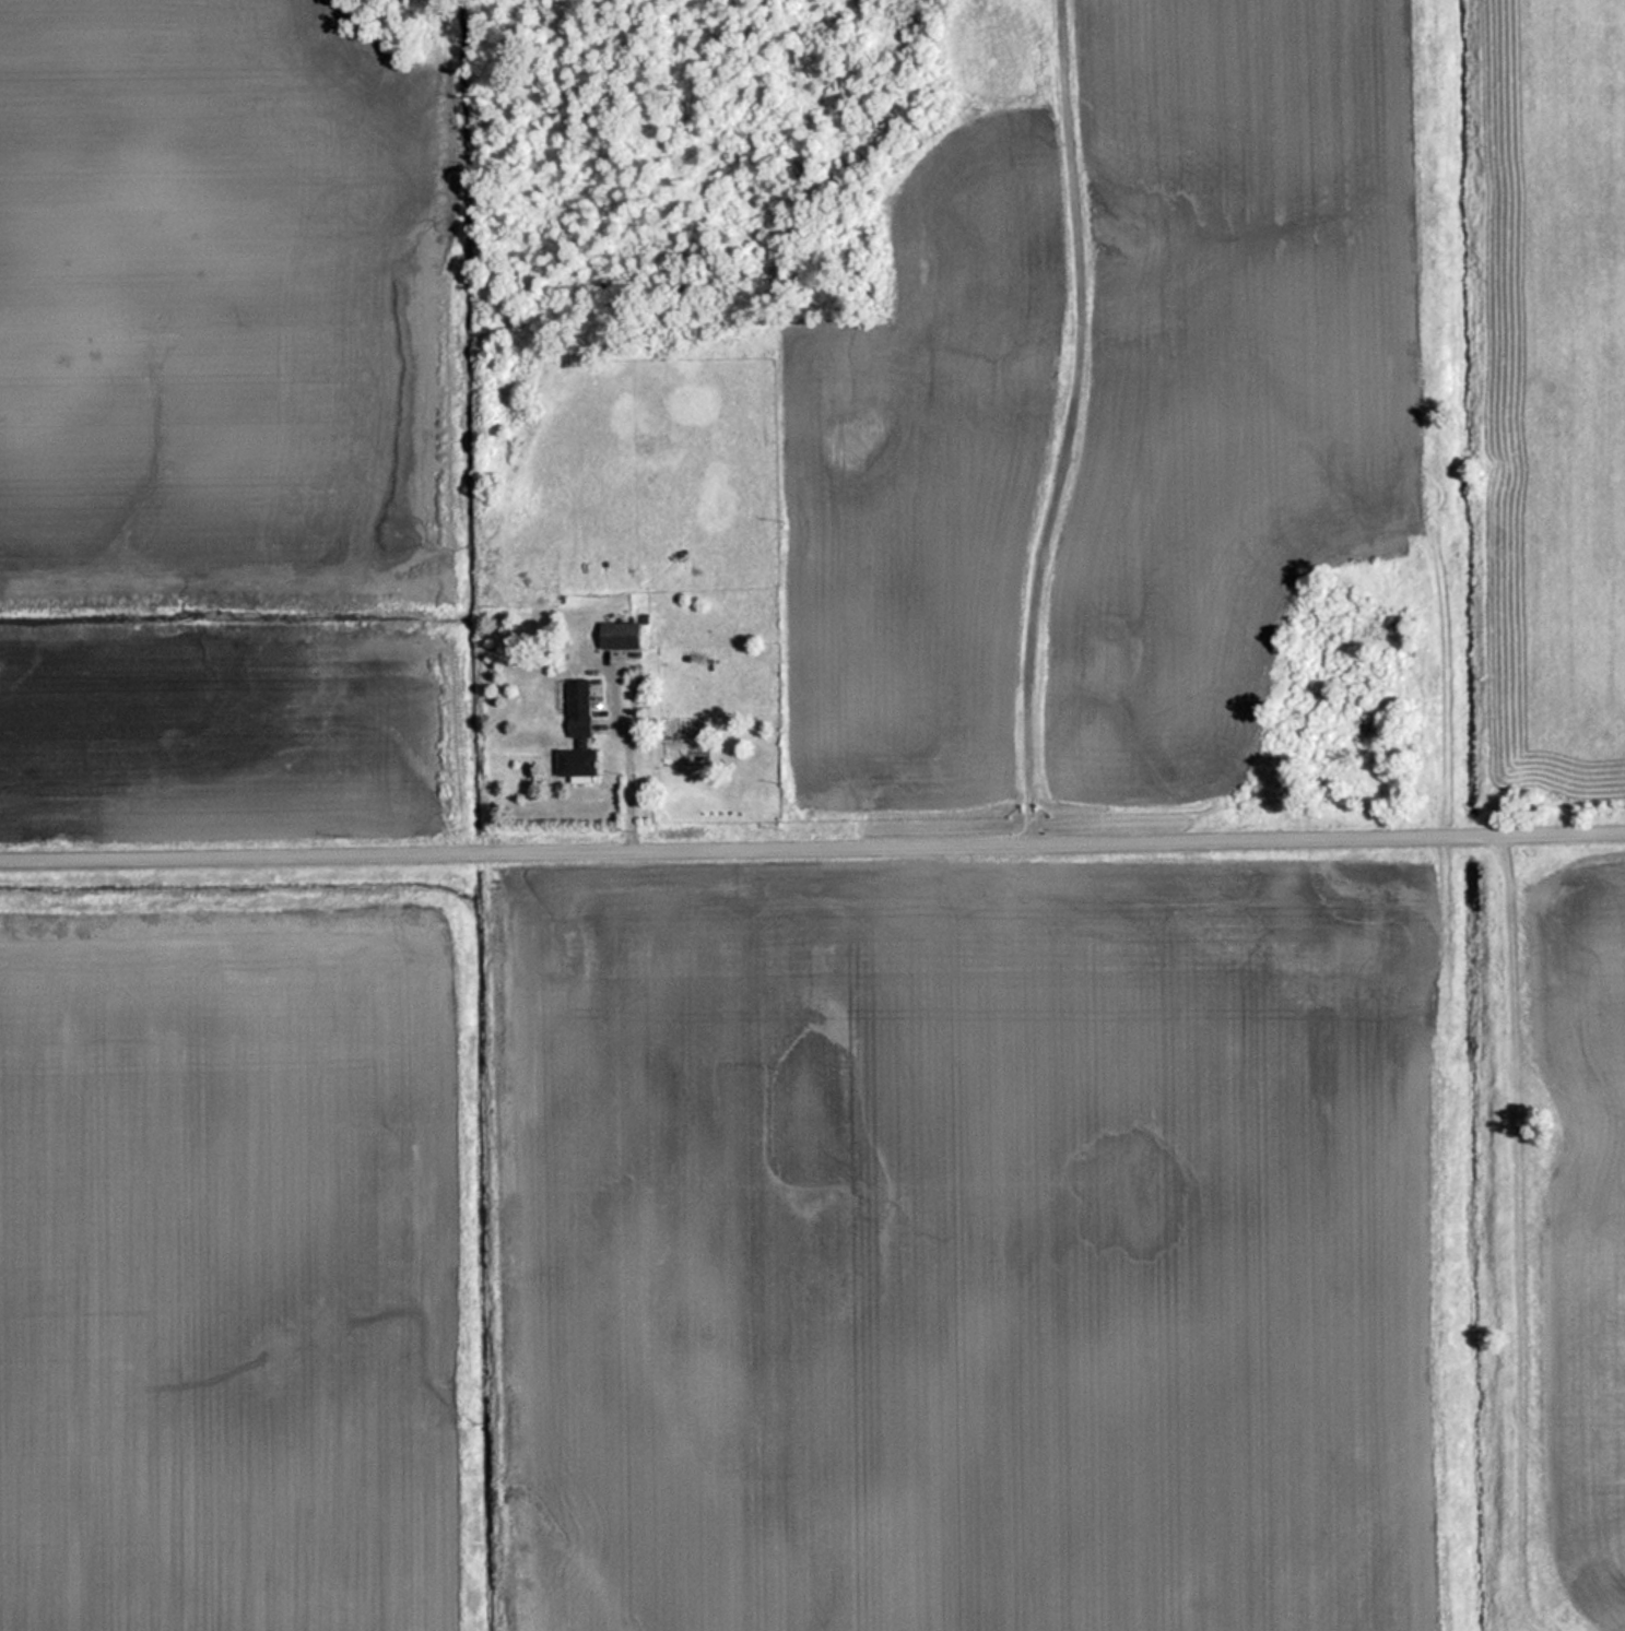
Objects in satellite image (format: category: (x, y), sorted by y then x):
building: (624, 635)
building: (581, 734)
road: (812, 850)

